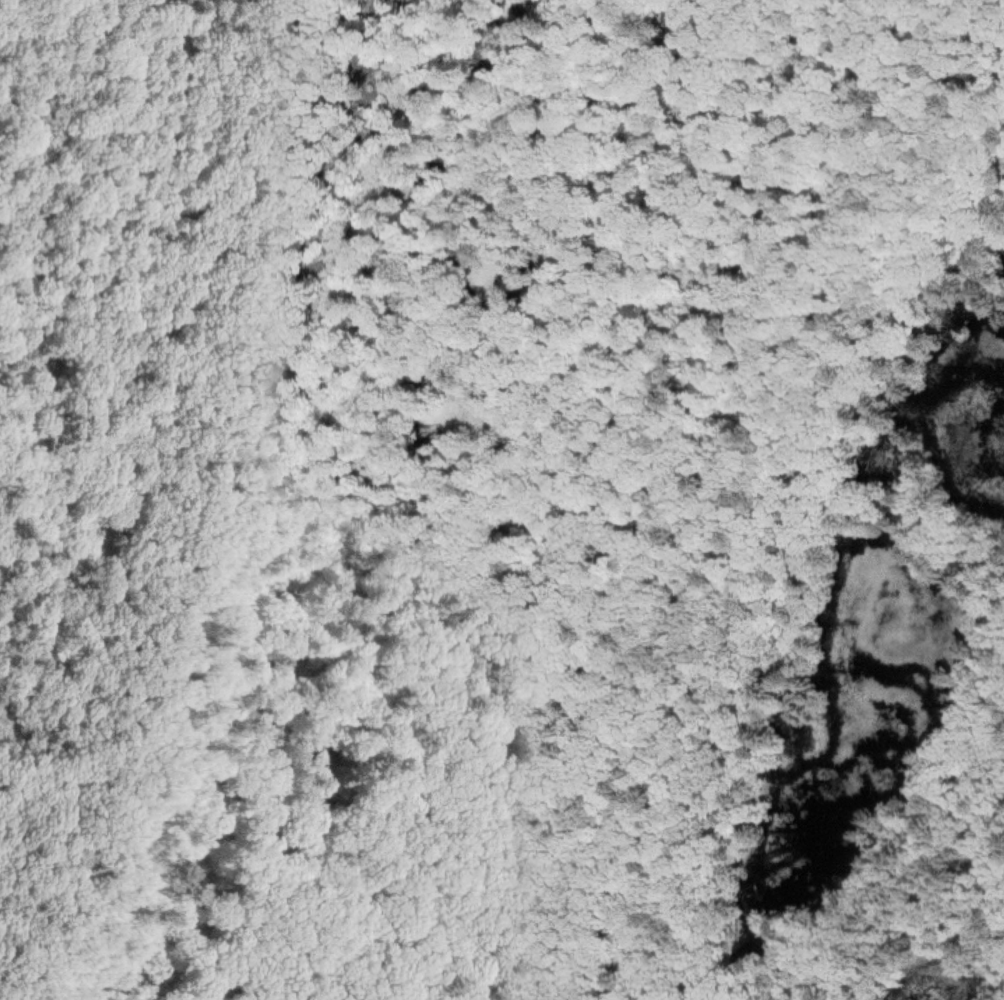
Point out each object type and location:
park: (502, 500)
road: (210, 507)
road: (919, 963)

